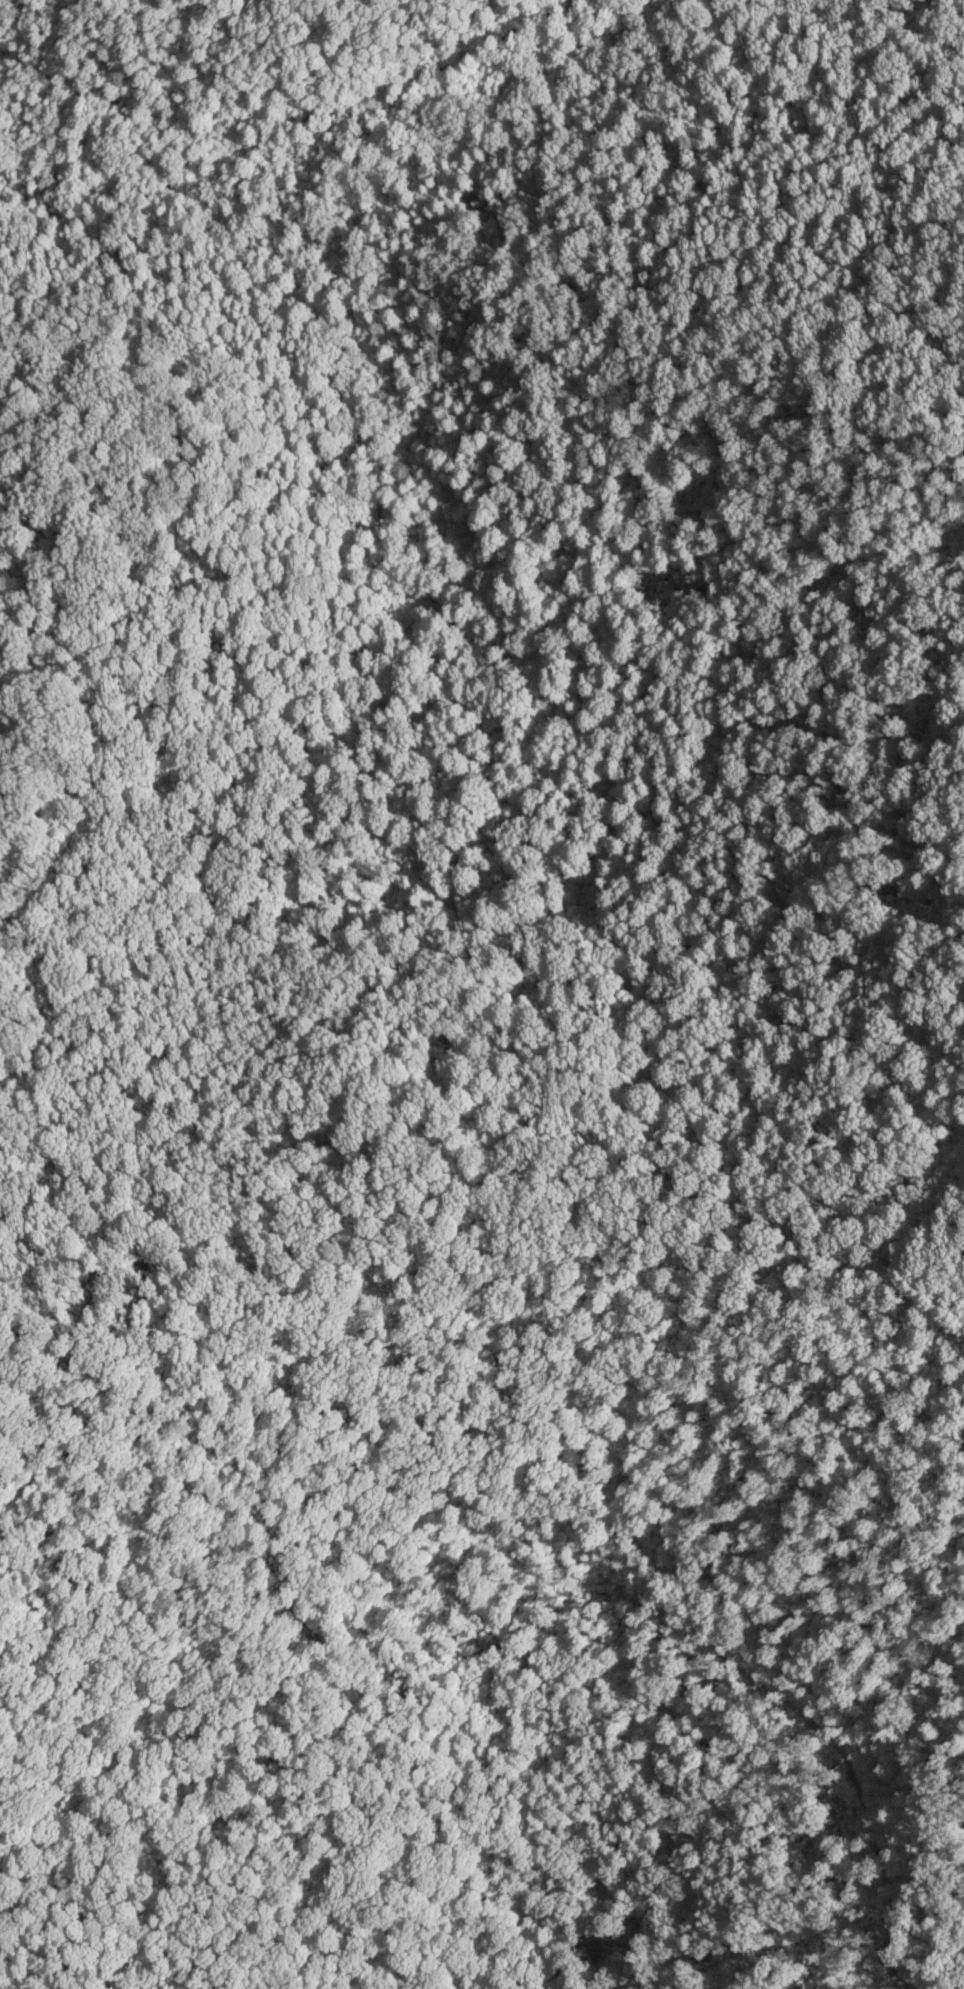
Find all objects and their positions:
road: (297, 101)

